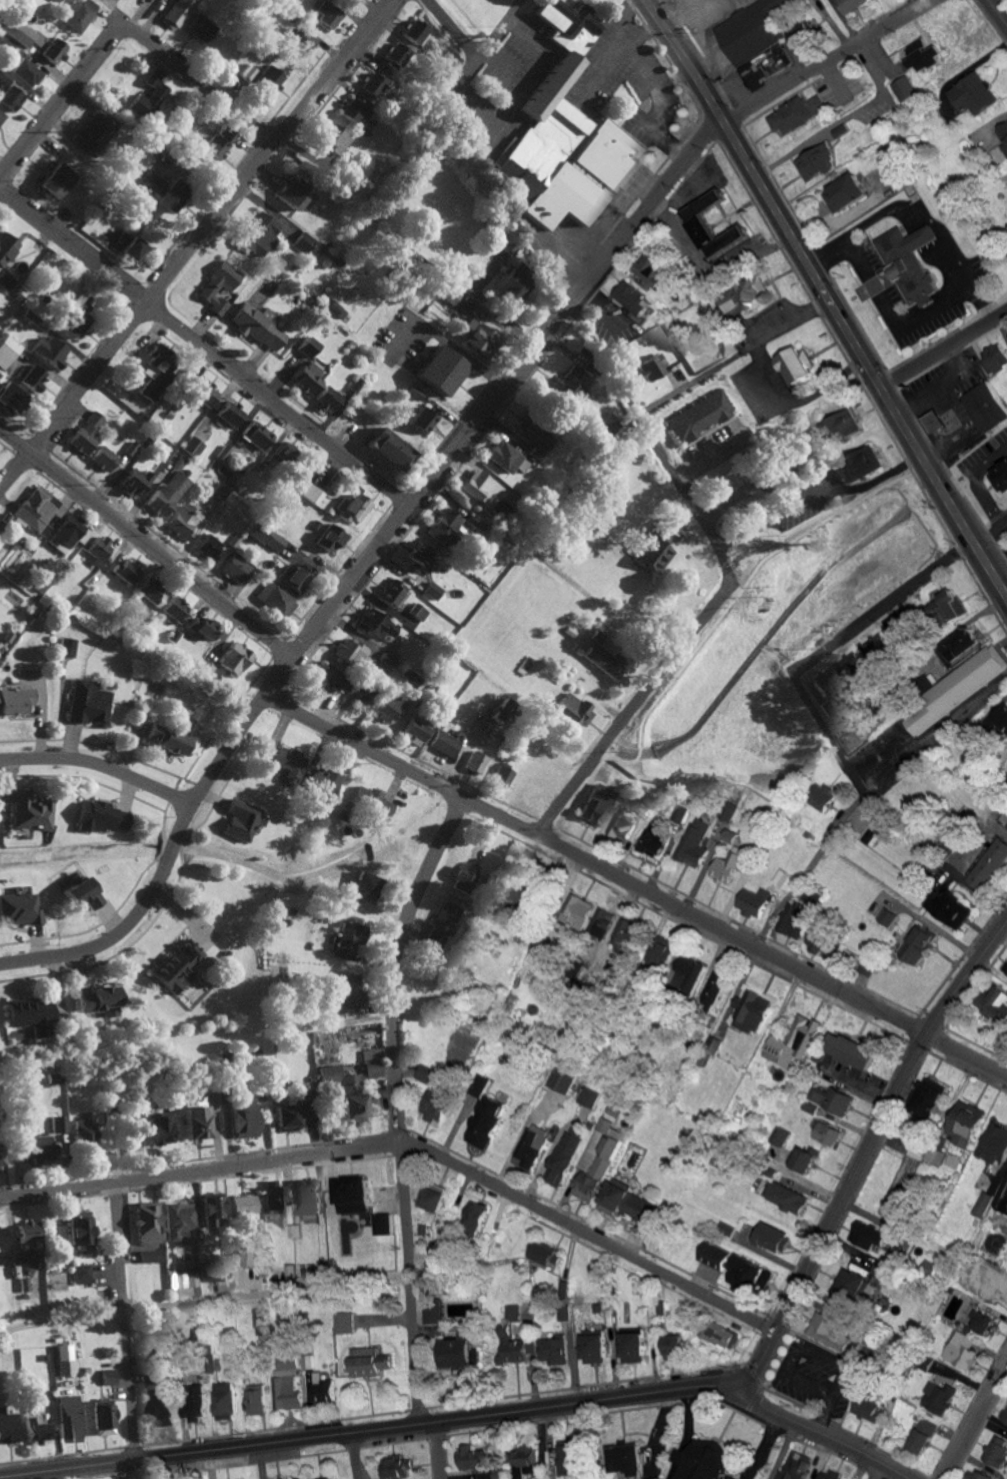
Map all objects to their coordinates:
building: (852, 4)
road: (998, 11)
building: (178, 13)
building: (80, 14)
building: (328, 14)
building: (201, 27)
road: (449, 29)
road: (497, 29)
road: (629, 30)
building: (23, 32)
building: (416, 32)
building: (746, 33)
building: (798, 33)
building: (298, 37)
building: (54, 50)
building: (918, 54)
building: (396, 55)
road: (818, 59)
building: (763, 66)
road: (178, 67)
building: (27, 72)
building: (5, 76)
building: (268, 79)
building: (374, 83)
building: (904, 88)
building: (973, 94)
building: (11, 98)
road: (56, 100)
road: (659, 102)
building: (355, 111)
building: (1, 115)
building: (791, 116)
building: (838, 130)
building: (96, 131)
building: (1001, 134)
building: (565, 136)
building: (336, 139)
building: (219, 142)
building: (816, 162)
building: (55, 181)
building: (147, 181)
road: (495, 183)
building: (294, 192)
building: (845, 192)
building: (170, 196)
road: (920, 214)
building: (697, 217)
building: (260, 235)
road: (191, 241)
building: (304, 241)
building: (133, 249)
building: (6, 259)
building: (907, 262)
building: (655, 272)
building: (513, 285)
building: (219, 286)
building: (744, 293)
building: (450, 295)
building: (633, 297)
road: (828, 298)
building: (336, 309)
road: (896, 311)
building: (80, 314)
building: (259, 326)
building: (479, 338)
building: (727, 345)
building: (308, 347)
building: (8, 351)
building: (49, 351)
road: (204, 351)
road: (943, 353)
road: (465, 357)
building: (993, 358)
building: (792, 365)
building: (649, 367)
building: (441, 371)
building: (154, 374)
building: (309, 377)
building: (32, 378)
building: (567, 385)
building: (204, 393)
building: (328, 398)
building: (10, 399)
building: (982, 407)
building: (230, 413)
building: (699, 416)
building: (424, 419)
building: (930, 420)
building: (604, 425)
building: (839, 427)
building: (86, 433)
building: (257, 436)
building: (536, 436)
road: (655, 443)
building: (194, 446)
building: (389, 448)
building: (285, 451)
building: (506, 457)
building: (103, 458)
building: (859, 464)
building: (999, 475)
building: (135, 482)
building: (169, 490)
building: (313, 494)
road: (815, 494)
building: (354, 508)
building: (37, 509)
building: (184, 519)
building: (446, 526)
building: (68, 534)
building: (267, 537)
building: (331, 539)
road: (148, 541)
building: (659, 546)
building: (210, 547)
building: (99, 550)
building: (422, 557)
road: (998, 565)
road: (366, 566)
building: (236, 568)
building: (127, 570)
building: (298, 578)
building: (149, 588)
building: (434, 590)
building: (396, 594)
building: (277, 599)
building: (953, 605)
building: (175, 608)
road: (882, 609)
building: (420, 612)
building: (202, 626)
building: (896, 627)
building: (382, 628)
building: (964, 646)
building: (67, 647)
building: (878, 648)
building: (353, 653)
building: (235, 658)
building: (604, 660)
building: (386, 663)
building: (854, 663)
building: (329, 677)
building: (959, 688)
building: (826, 689)
building: (364, 698)
building: (15, 700)
building: (88, 702)
building: (388, 706)
road: (632, 706)
building: (575, 710)
building: (503, 711)
building: (1000, 716)
building: (839, 727)
building: (417, 729)
road: (935, 737)
building: (166, 739)
building: (446, 743)
building: (289, 760)
building: (477, 762)
road: (101, 766)
building: (504, 777)
building: (324, 784)
building: (824, 796)
building: (373, 802)
building: (597, 804)
building: (645, 806)
building: (30, 812)
building: (732, 812)
road: (881, 812)
building: (681, 813)
building: (101, 817)
building: (244, 820)
building: (623, 826)
building: (872, 835)
building: (655, 841)
building: (953, 841)
road: (977, 842)
building: (696, 843)
building: (732, 858)
building: (993, 866)
road: (821, 878)
building: (786, 879)
road: (637, 884)
building: (367, 887)
building: (83, 894)
building: (756, 902)
building: (19, 910)
building: (580, 911)
building: (955, 911)
building: (889, 917)
building: (601, 922)
building: (800, 923)
building: (626, 936)
building: (346, 937)
building: (821, 942)
building: (920, 945)
building: (663, 953)
building: (178, 967)
building: (868, 967)
building: (1005, 970)
building: (689, 974)
building: (346, 988)
building: (713, 991)
building: (97, 1002)
building: (997, 1004)
building: (752, 1012)
building: (29, 1013)
building: (794, 1042)
building: (713, 1045)
building: (851, 1052)
building: (372, 1062)
building: (426, 1073)
building: (54, 1077)
building: (561, 1079)
building: (478, 1083)
building: (345, 1091)
building: (212, 1096)
building: (588, 1096)
building: (831, 1097)
building: (930, 1099)
road: (398, 1102)
building: (436, 1103)
building: (135, 1111)
building: (286, 1115)
building: (245, 1120)
building: (58, 1123)
building: (965, 1123)
building: (160, 1129)
building: (828, 1133)
building: (781, 1136)
building: (87, 1138)
building: (34, 1141)
building: (529, 1144)
building: (995, 1144)
road: (408, 1150)
building: (936, 1154)
road: (865, 1155)
building: (561, 1157)
building: (805, 1157)
building: (598, 1160)
building: (956, 1161)
building: (783, 1193)
building: (351, 1194)
building: (274, 1197)
building: (432, 1197)
building: (308, 1198)
building: (628, 1203)
building: (985, 1203)
building: (242, 1204)
building: (212, 1210)
building: (474, 1214)
building: (178, 1220)
building: (147, 1223)
building: (382, 1223)
building: (726, 1229)
building: (80, 1232)
building: (29, 1234)
building: (2, 1235)
building: (868, 1235)
building: (772, 1237)
building: (547, 1252)
building: (715, 1254)
building: (151, 1255)
building: (250, 1258)
building: (883, 1269)
building: (745, 1271)
building: (213, 1272)
building: (85, 1273)
building: (183, 1279)
building: (856, 1285)
road: (265, 1292)
building: (432, 1310)
building: (513, 1310)
building: (457, 1312)
building: (563, 1312)
building: (980, 1319)
road: (122, 1320)
building: (343, 1321)
building: (829, 1330)
building: (720, 1333)
building: (593, 1343)
building: (632, 1346)
building: (673, 1346)
building: (515, 1348)
building: (552, 1350)
building: (963, 1350)
building: (457, 1351)
building: (65, 1359)
building: (368, 1360)
building: (109, 1376)
building: (286, 1378)
building: (322, 1386)
building: (158, 1396)
building: (940, 1396)
building: (255, 1399)
building: (223, 1400)
building: (193, 1401)
building: (868, 1407)
building: (67, 1416)
road: (463, 1416)
building: (102, 1418)
road: (687, 1418)
building: (1006, 1418)
building: (7, 1426)
road: (977, 1428)
building: (35, 1429)
building: (923, 1435)
road: (763, 1445)
road: (434, 1449)
road: (783, 1451)
building: (997, 1451)
road: (351, 1455)
building: (473, 1457)
road: (678, 1457)
building: (627, 1458)
building: (524, 1460)
building: (703, 1461)
building: (397, 1466)
building: (795, 1466)
road: (671, 1471)
road: (877, 1472)
building: (978, 1474)
building: (829, 1475)
building: (332, 1478)

